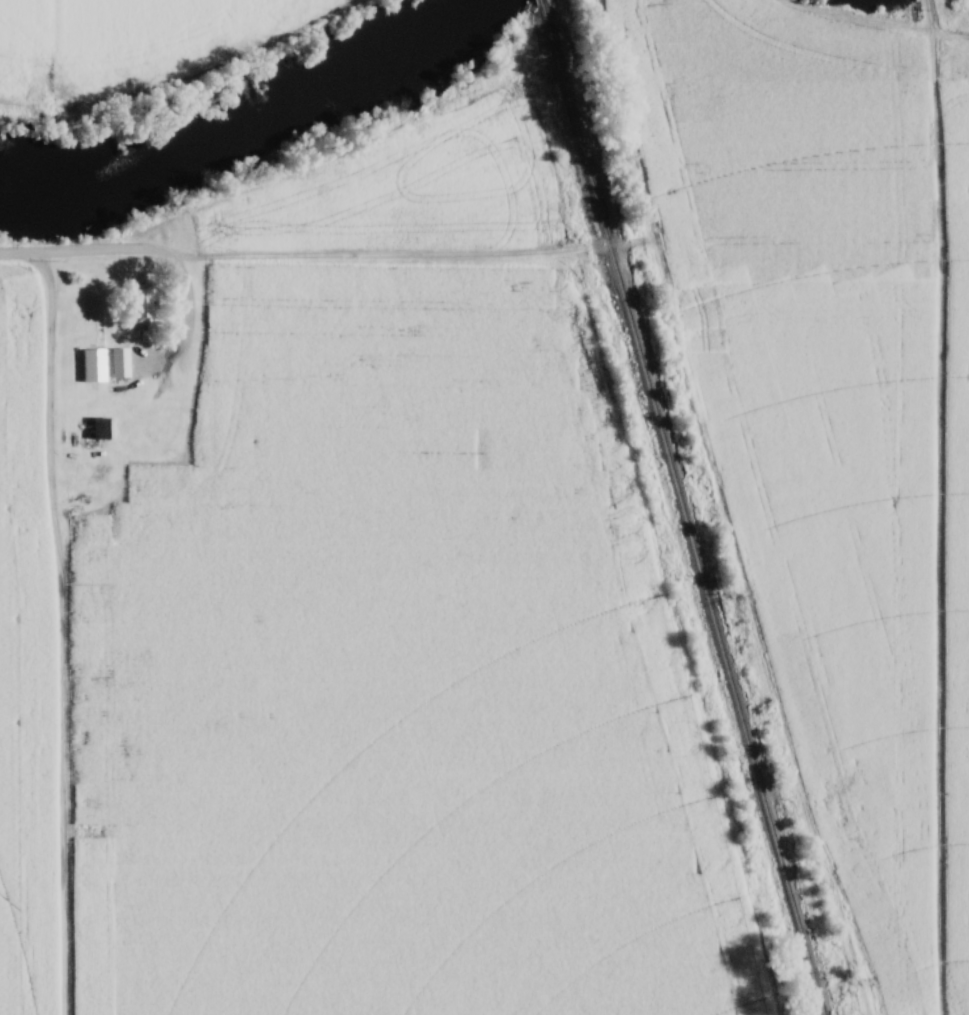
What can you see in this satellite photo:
railway: (541, 3)
road: (20, 254)
road: (174, 259)
building: (142, 303)
building: (120, 363)
building: (105, 428)
railway: (682, 511)

